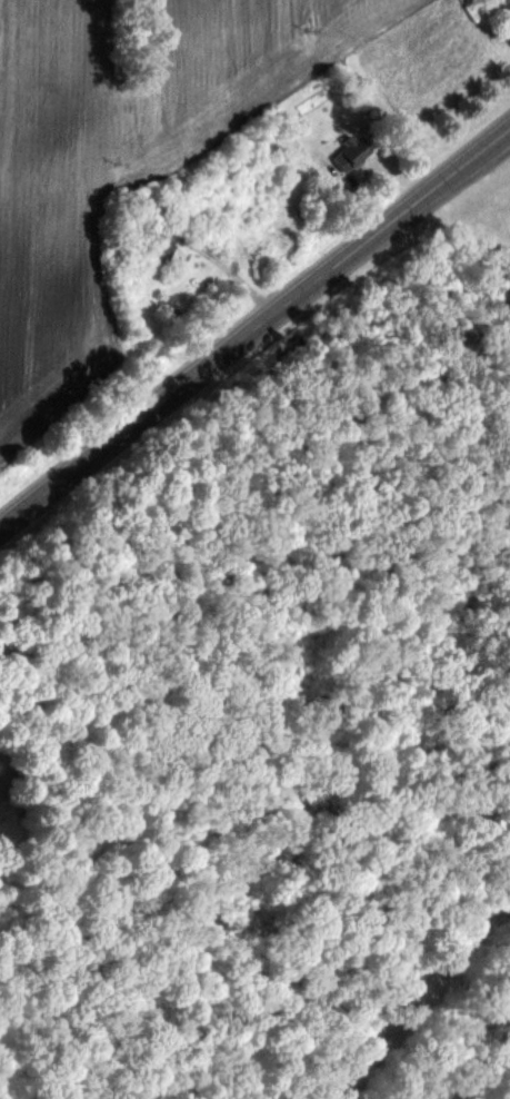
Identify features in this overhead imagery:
building: (502, 7)
building: (344, 155)
building: (153, 247)
road: (254, 324)

